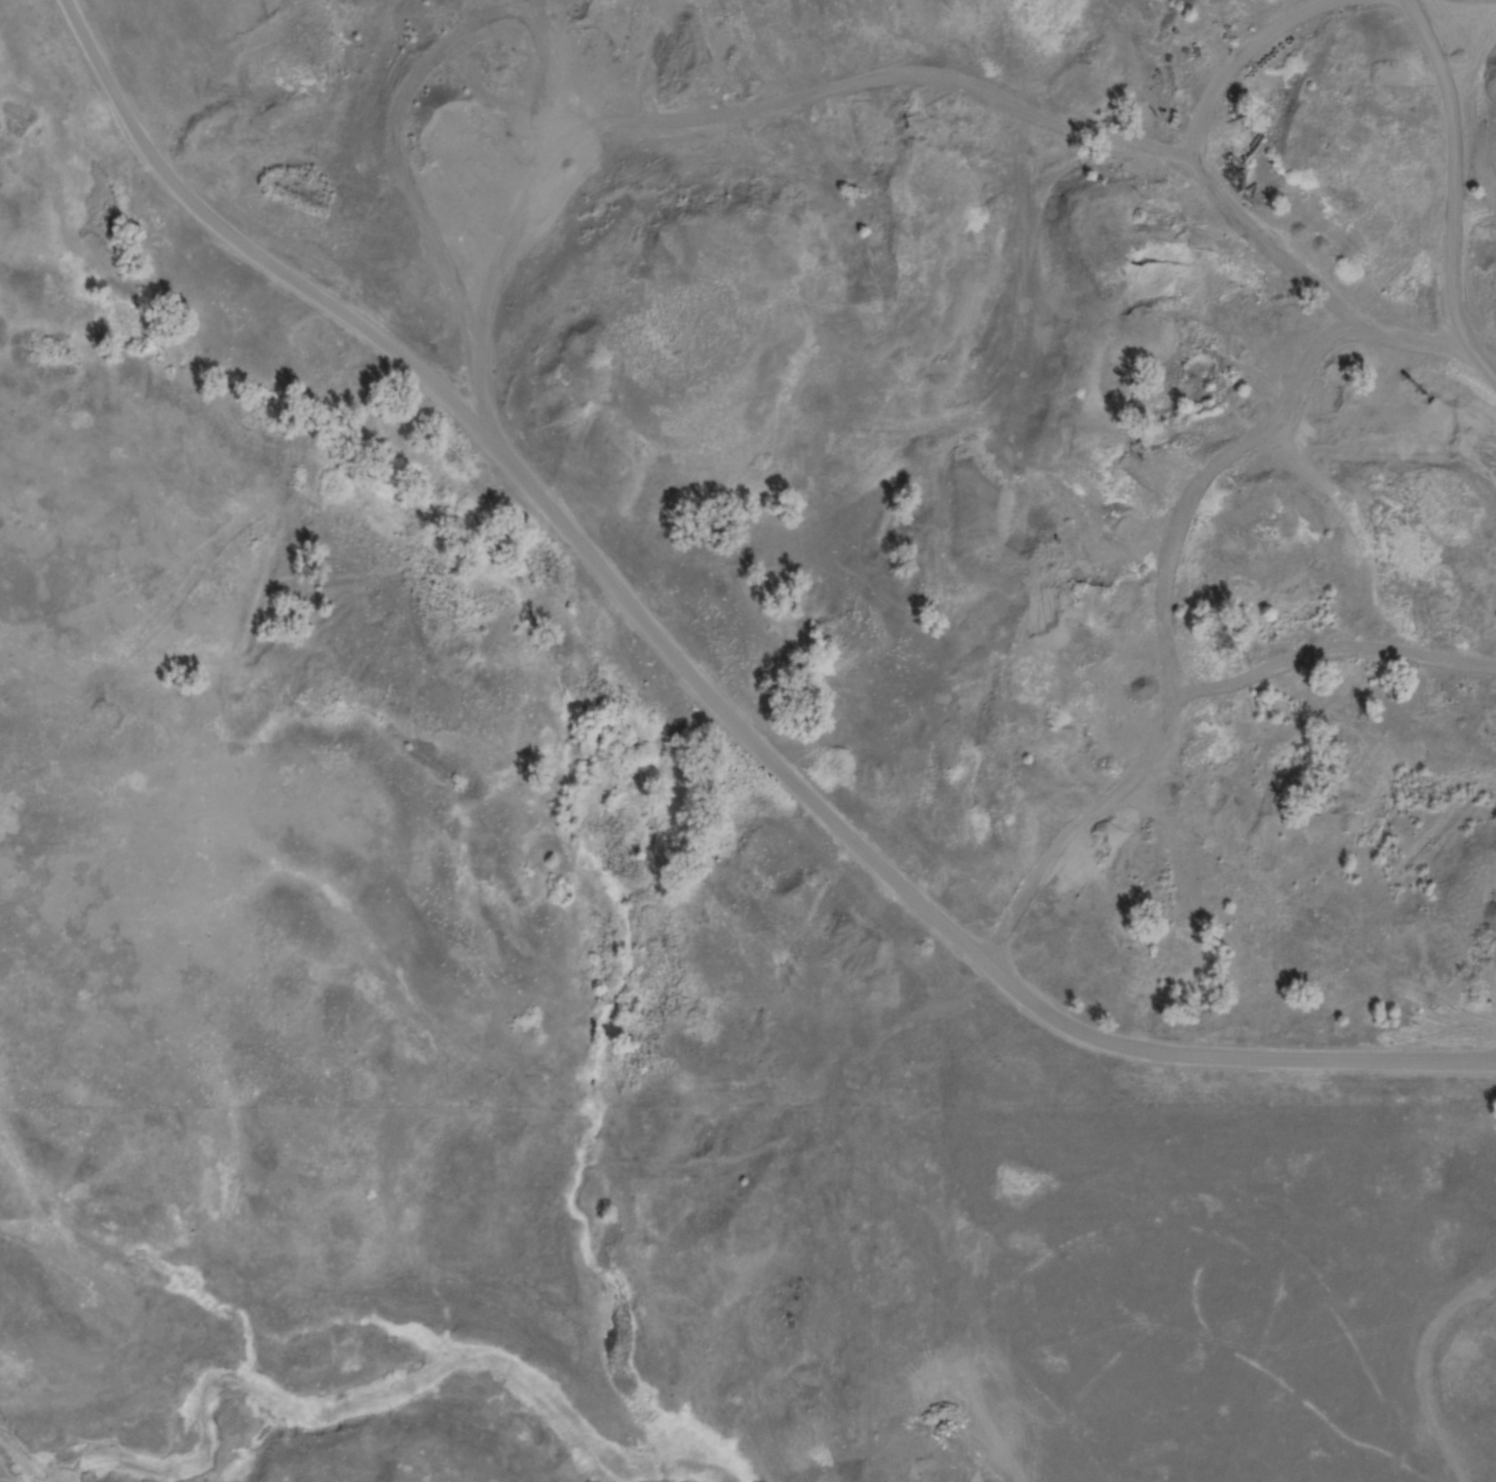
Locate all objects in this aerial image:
road: (944, 77)
road: (1455, 189)
road: (701, 679)
road: (1203, 729)

